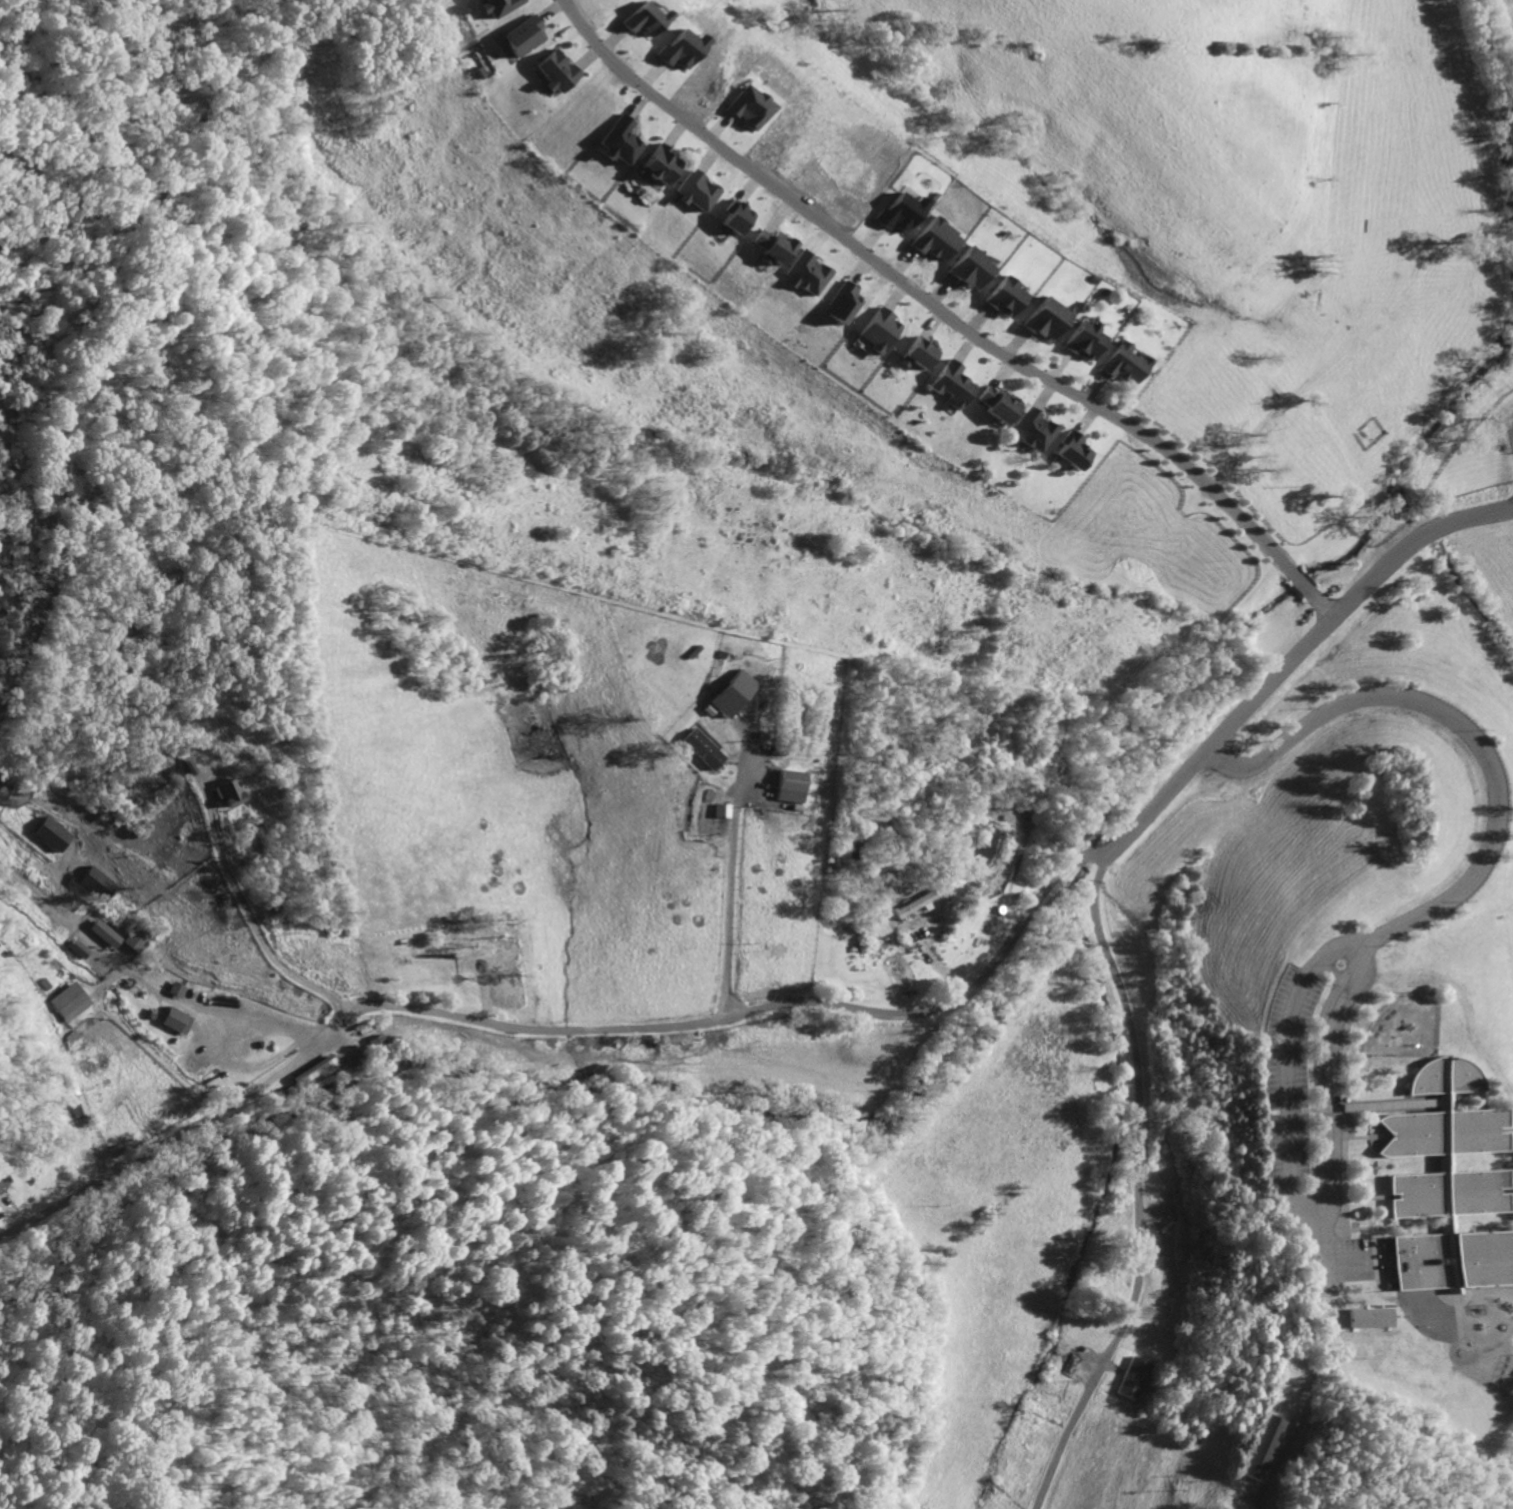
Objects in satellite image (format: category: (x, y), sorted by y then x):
building: (494, 7)
building: (641, 22)
building: (519, 38)
building: (675, 50)
building: (559, 70)
building: (745, 108)
building: (619, 138)
building: (656, 167)
building: (698, 188)
building: (895, 213)
building: (734, 219)
building: (929, 241)
building: (770, 247)
building: (967, 269)
building: (805, 276)
building: (1002, 298)
building: (838, 304)
road: (944, 316)
building: (1042, 320)
building: (877, 328)
building: (1082, 341)
building: (914, 354)
building: (1122, 365)
building: (948, 385)
building: (994, 405)
building: (1031, 430)
building: (1070, 452)
road: (1288, 665)
building: (727, 693)
road: (1470, 736)
building: (701, 750)
building: (788, 781)
building: (223, 793)
building: (50, 833)
road: (730, 875)
building: (92, 882)
building: (911, 906)
road: (248, 914)
building: (103, 933)
building: (76, 949)
building: (69, 1002)
building: (174, 1020)
road: (239, 1025)
road: (542, 1031)
building: (313, 1072)
road: (1139, 1186)
building: (1448, 1187)
road: (1300, 1198)
road: (1325, 1258)
building: (1370, 1318)
building: (1133, 1378)
building: (1262, 1448)

